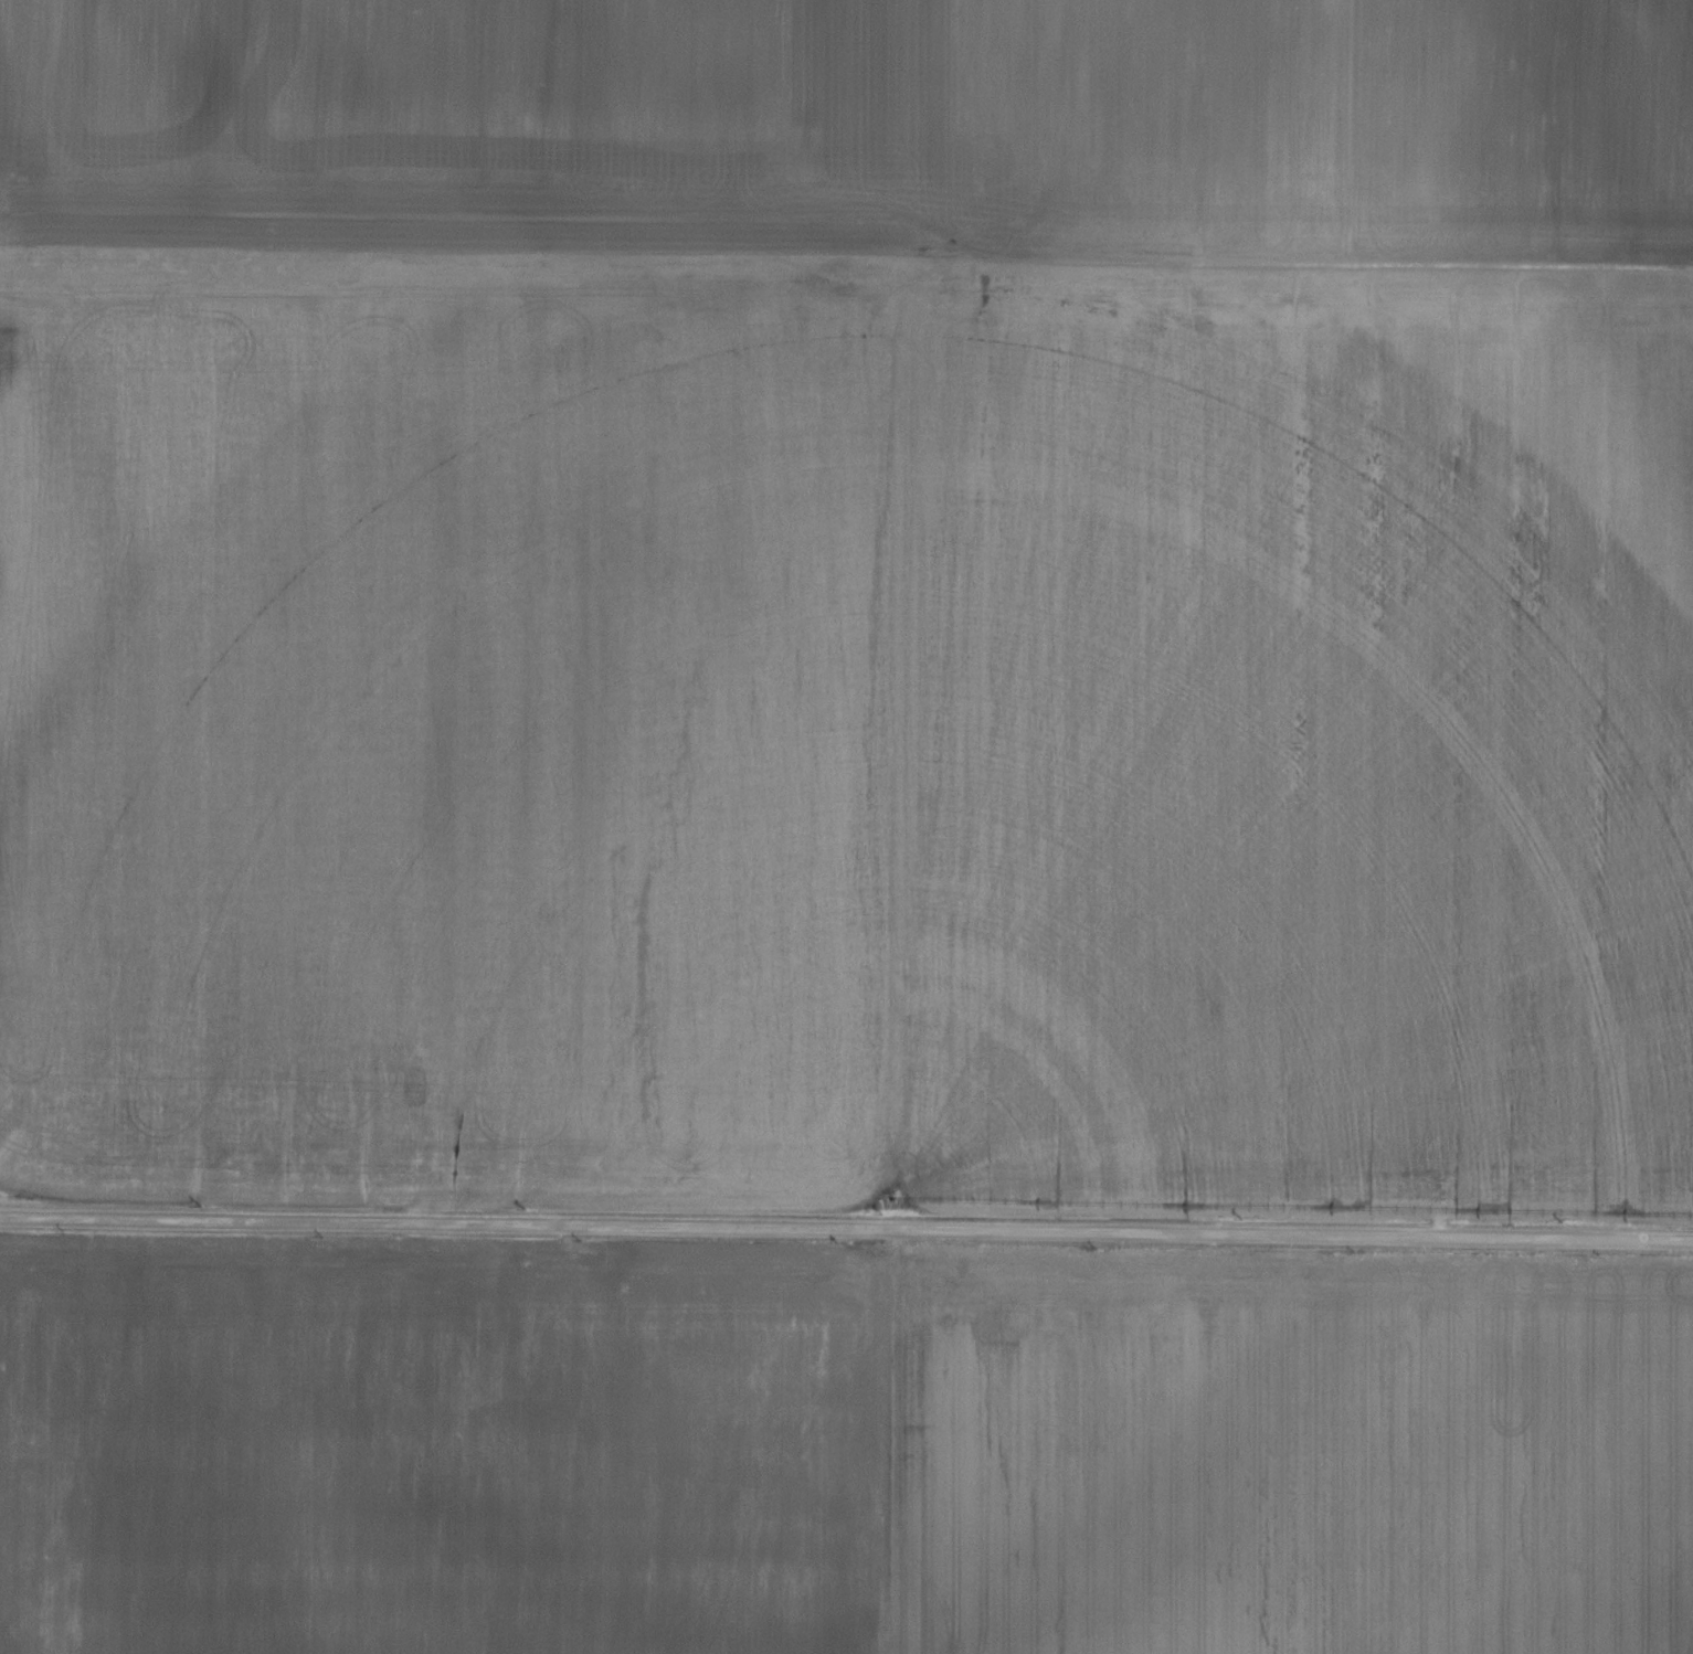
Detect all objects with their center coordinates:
road: (846, 1228)

